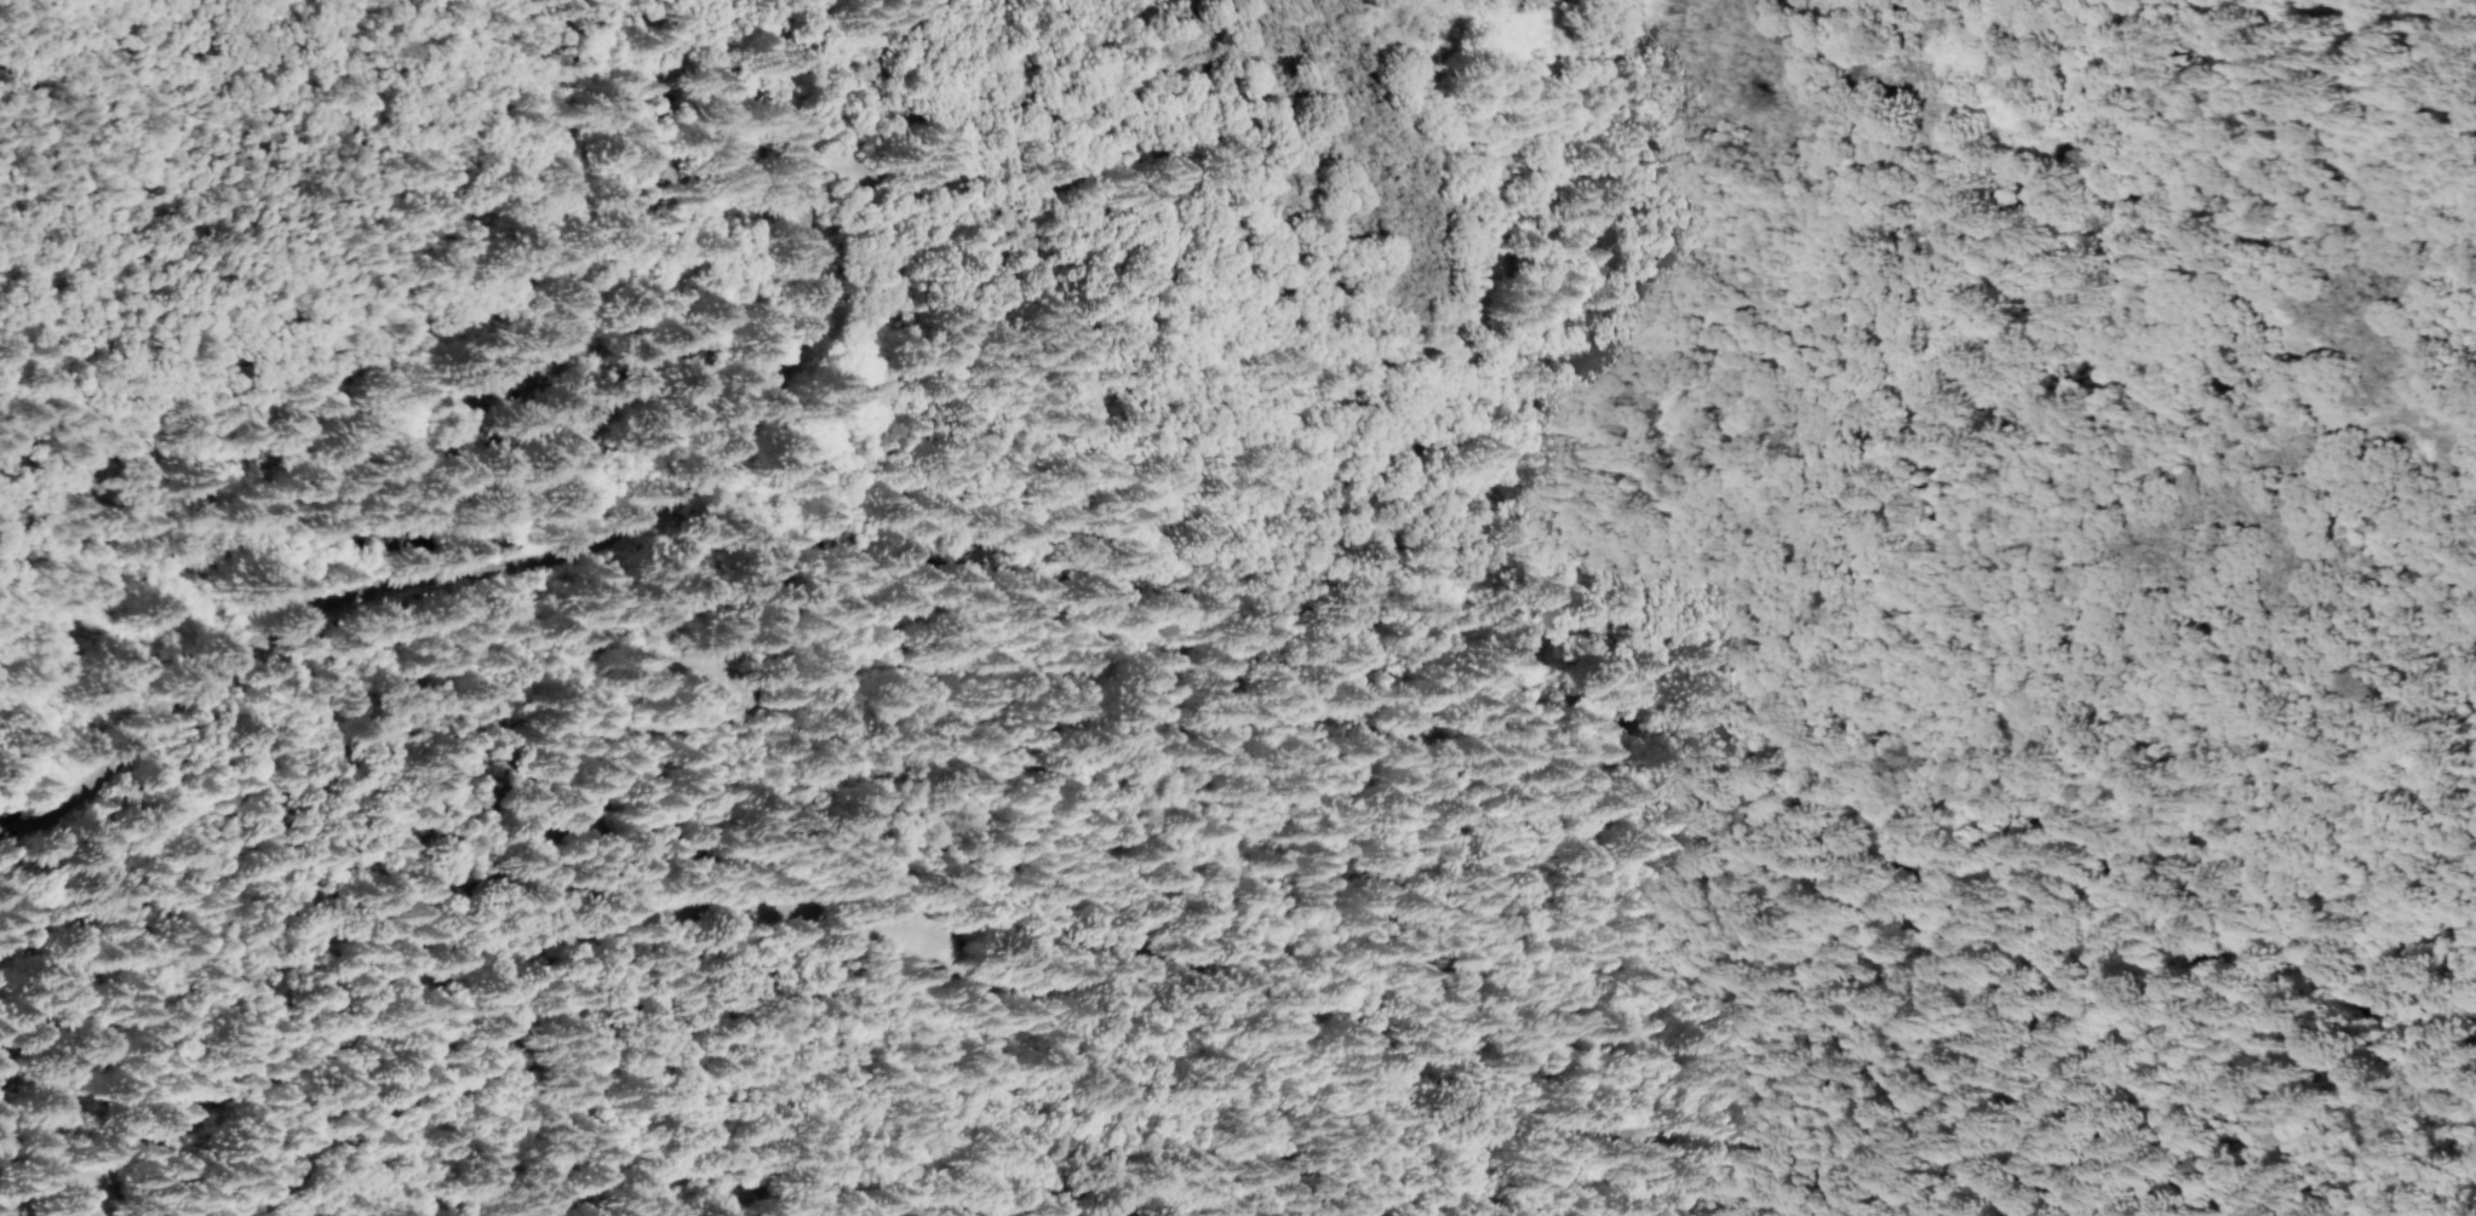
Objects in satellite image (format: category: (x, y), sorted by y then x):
road: (819, 220)
road: (2240, 300)
road: (1864, 304)
road: (1174, 401)
building: (615, 417)
road: (738, 463)
road: (329, 608)
road: (137, 757)
road: (367, 804)
road: (1351, 1026)
road: (386, 1029)

